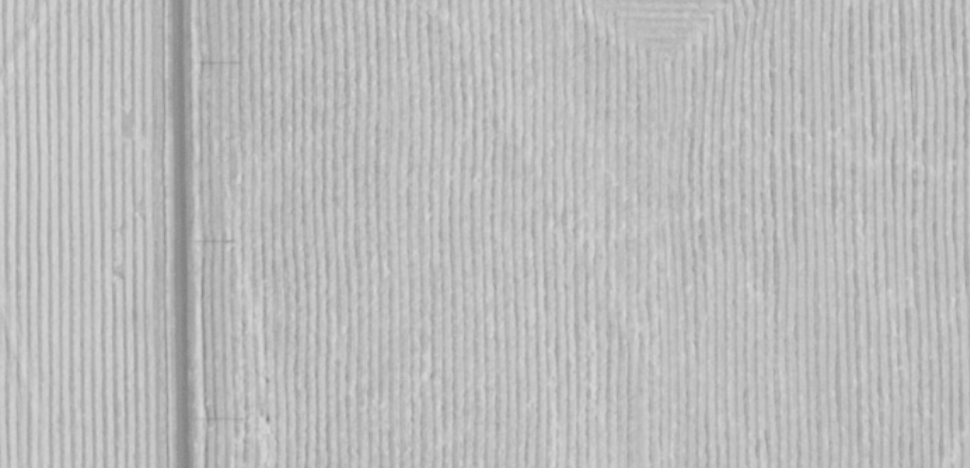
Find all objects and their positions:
crop: (585, 233)
road: (179, 234)
crop: (74, 236)

